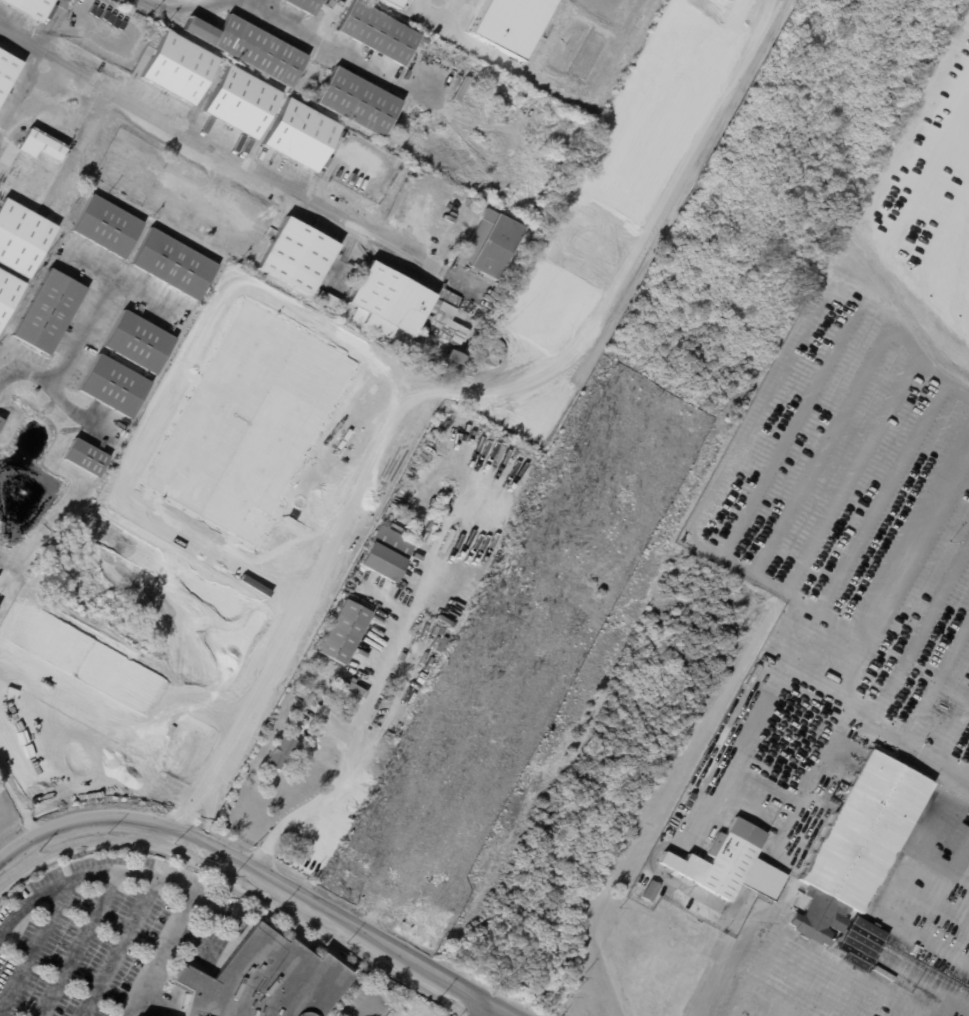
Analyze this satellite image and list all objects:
building: (391, 2)
building: (305, 5)
building: (31, 7)
road: (440, 19)
road: (288, 23)
building: (507, 23)
building: (379, 32)
building: (251, 46)
building: (451, 54)
building: (179, 67)
building: (8, 71)
building: (462, 88)
building: (241, 101)
building: (357, 101)
road: (27, 106)
building: (303, 135)
building: (42, 145)
road: (231, 155)
building: (337, 172)
building: (193, 176)
building: (233, 194)
building: (107, 225)
building: (23, 235)
building: (234, 240)
building: (493, 244)
building: (299, 256)
building: (175, 263)
building: (8, 293)
building: (331, 303)
building: (404, 306)
building: (50, 311)
building: (140, 341)
building: (471, 344)
road: (73, 355)
building: (457, 363)
building: (115, 385)
road: (767, 395)
road: (796, 418)
building: (1, 423)
building: (87, 456)
road: (851, 474)
road: (798, 492)
road: (882, 496)
road: (917, 548)
building: (387, 553)
building: (345, 631)
road: (919, 634)
road: (782, 667)
road: (935, 681)
building: (348, 686)
building: (332, 690)
road: (355, 727)
road: (952, 731)
building: (781, 750)
building: (284, 751)
road: (826, 754)
road: (968, 780)
building: (697, 785)
building: (691, 792)
road: (689, 837)
building: (857, 856)
building: (730, 864)
road: (266, 872)
road: (158, 875)
road: (960, 878)
road: (943, 889)
building: (648, 891)
road: (951, 915)
building: (220, 918)
building: (236, 920)
road: (787, 934)
road: (79, 942)
road: (930, 943)
road: (35, 944)
road: (119, 945)
building: (197, 967)
road: (759, 974)
building: (263, 980)
road: (794, 982)
road: (924, 983)
road: (833, 992)
road: (872, 1001)
road: (368, 1005)
road: (948, 1008)
road: (489, 1009)
road: (923, 1011)

